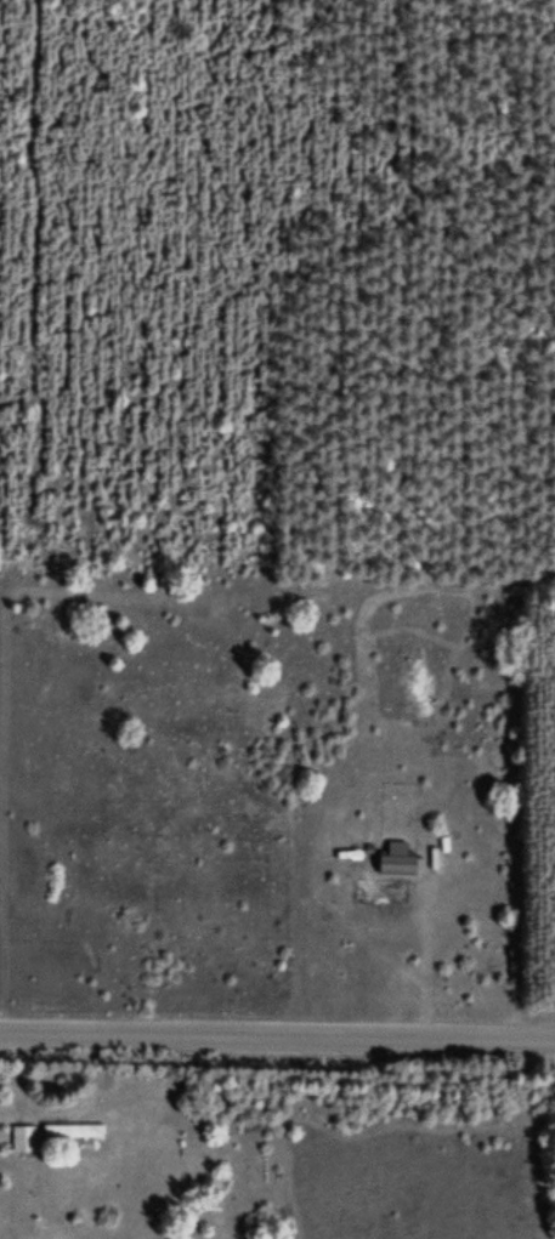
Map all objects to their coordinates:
road: (277, 1030)
building: (75, 1132)
building: (24, 1141)

